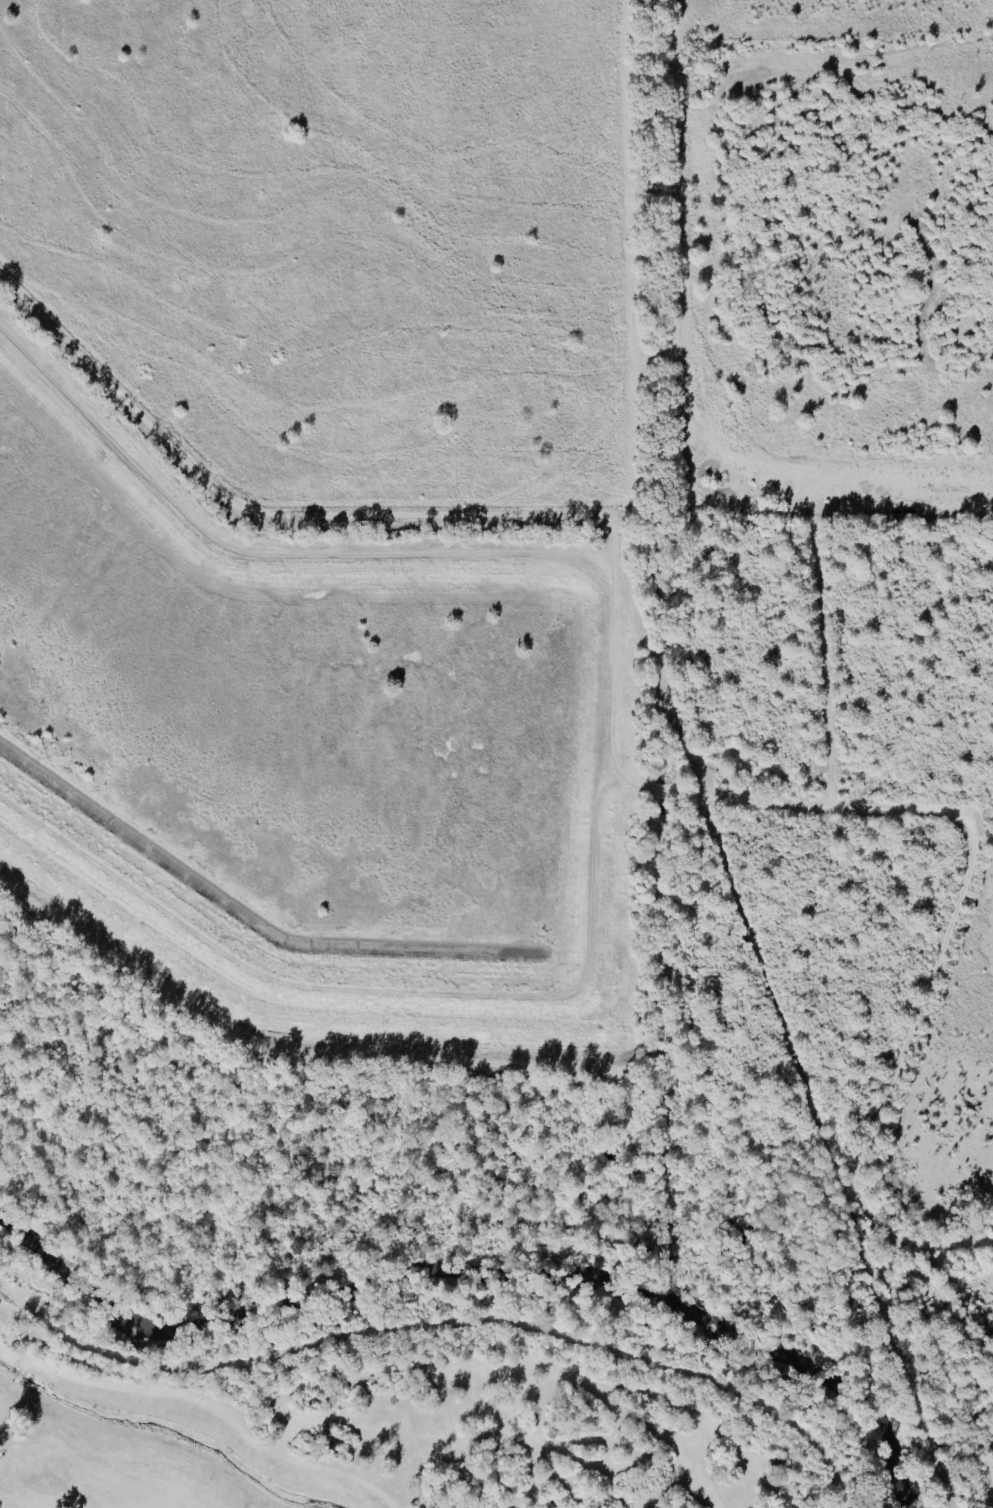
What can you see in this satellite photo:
river: (486, 1269)
road: (445, 1325)
road: (850, 1505)

